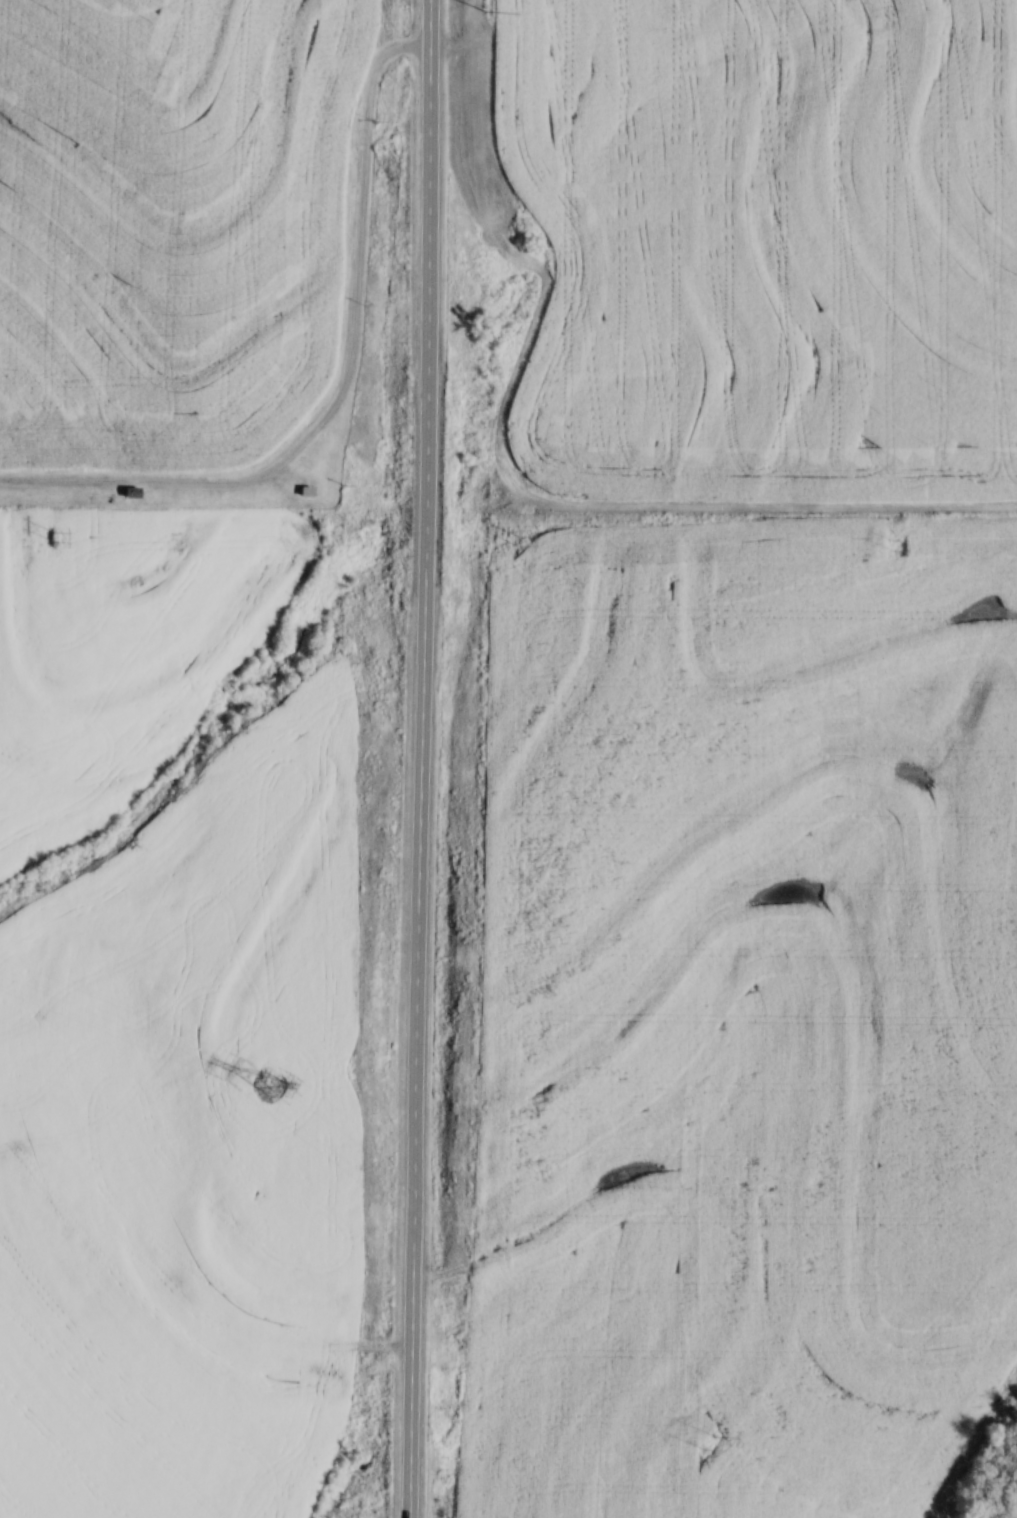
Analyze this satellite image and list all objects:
building: (134, 492)
power tower: (52, 536)
power tower: (516, 542)
power tower: (890, 544)
road: (424, 759)
power tower: (268, 1086)
power tower: (705, 1442)

